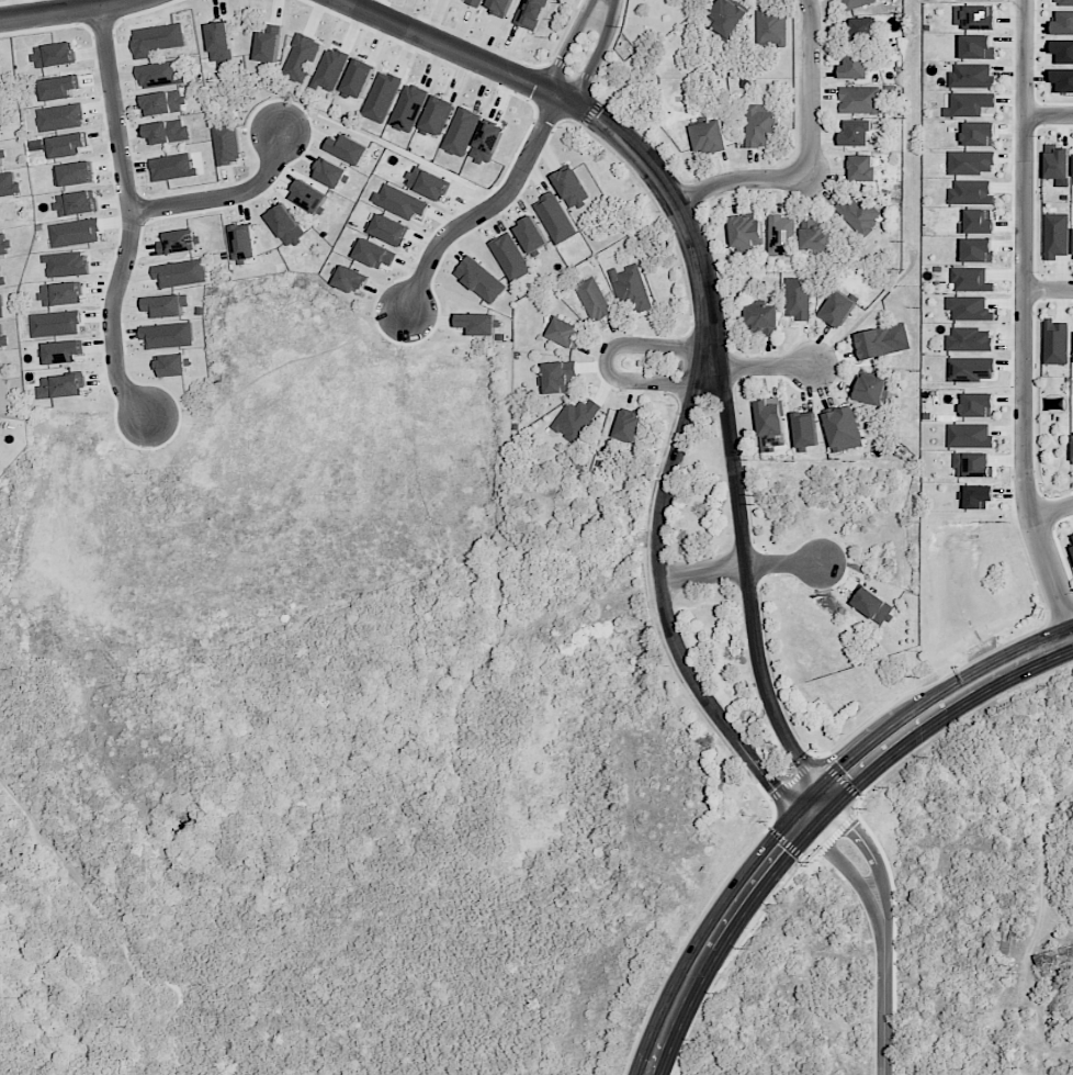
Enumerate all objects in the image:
road: (603, 1)
building: (473, 2)
building: (1062, 2)
building: (855, 3)
road: (60, 10)
building: (530, 13)
building: (728, 16)
building: (975, 18)
building: (1063, 23)
building: (771, 27)
building: (862, 29)
building: (157, 38)
building: (269, 42)
building: (221, 43)
road: (569, 45)
building: (978, 46)
road: (451, 47)
building: (1062, 52)
building: (54, 55)
road: (595, 57)
building: (302, 58)
building: (855, 67)
building: (330, 68)
building: (972, 76)
building: (358, 79)
building: (1062, 80)
building: (382, 97)
building: (860, 100)
building: (162, 103)
building: (969, 104)
building: (408, 108)
building: (437, 115)
building: (61, 116)
road: (1050, 116)
building: (760, 124)
building: (461, 132)
building: (856, 133)
building: (979, 134)
building: (709, 137)
building: (487, 142)
building: (227, 143)
building: (67, 145)
building: (348, 148)
road: (812, 159)
building: (971, 163)
building: (1058, 166)
building: (173, 167)
building: (861, 168)
building: (330, 172)
building: (428, 183)
building: (571, 187)
building: (971, 192)
road: (225, 193)
road: (667, 194)
building: (309, 197)
building: (400, 202)
building: (77, 203)
road: (484, 208)
building: (857, 213)
road: (131, 215)
building: (555, 217)
building: (976, 223)
building: (286, 225)
building: (389, 229)
building: (746, 231)
building: (76, 233)
building: (531, 234)
building: (782, 235)
building: (815, 235)
building: (1055, 235)
building: (178, 242)
building: (978, 250)
building: (374, 254)
building: (510, 257)
building: (181, 273)
building: (481, 279)
building: (351, 280)
building: (971, 280)
building: (631, 290)
road: (1049, 291)
building: (63, 294)
building: (798, 298)
building: (594, 299)
building: (167, 305)
building: (838, 309)
building: (969, 309)
road: (1026, 318)
building: (764, 320)
building: (476, 323)
building: (565, 332)
building: (168, 335)
building: (970, 339)
building: (877, 343)
building: (1055, 343)
building: (63, 351)
road: (605, 361)
building: (172, 365)
road: (766, 368)
building: (971, 369)
building: (557, 377)
building: (60, 387)
building: (871, 389)
building: (1054, 404)
building: (978, 405)
building: (575, 419)
building: (770, 425)
building: (628, 426)
building: (805, 429)
building: (843, 429)
building: (969, 436)
building: (1072, 440)
building: (973, 464)
building: (979, 496)
road: (1052, 514)
building: (1072, 549)
road: (739, 567)
road: (748, 572)
road: (664, 596)
building: (873, 605)
traffic signals: (831, 795)
road: (815, 811)
traffic signals: (804, 825)
road: (869, 854)
road: (848, 871)
road: (1042, 880)
building: (1055, 960)
building: (1055, 997)
road: (883, 999)

